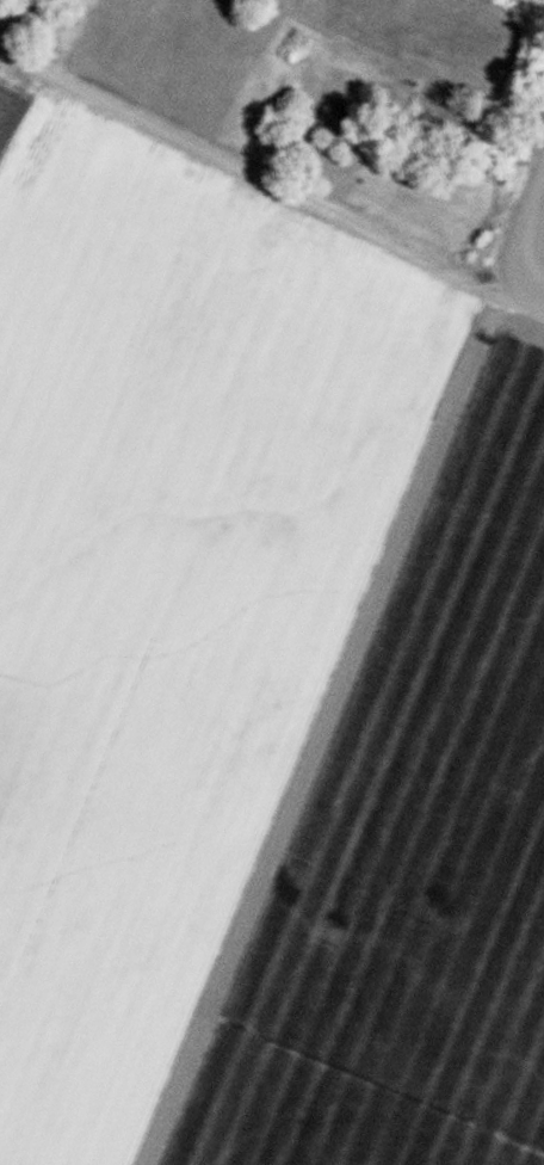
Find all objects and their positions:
building: (332, 117)
road: (157, 127)
road: (428, 257)

